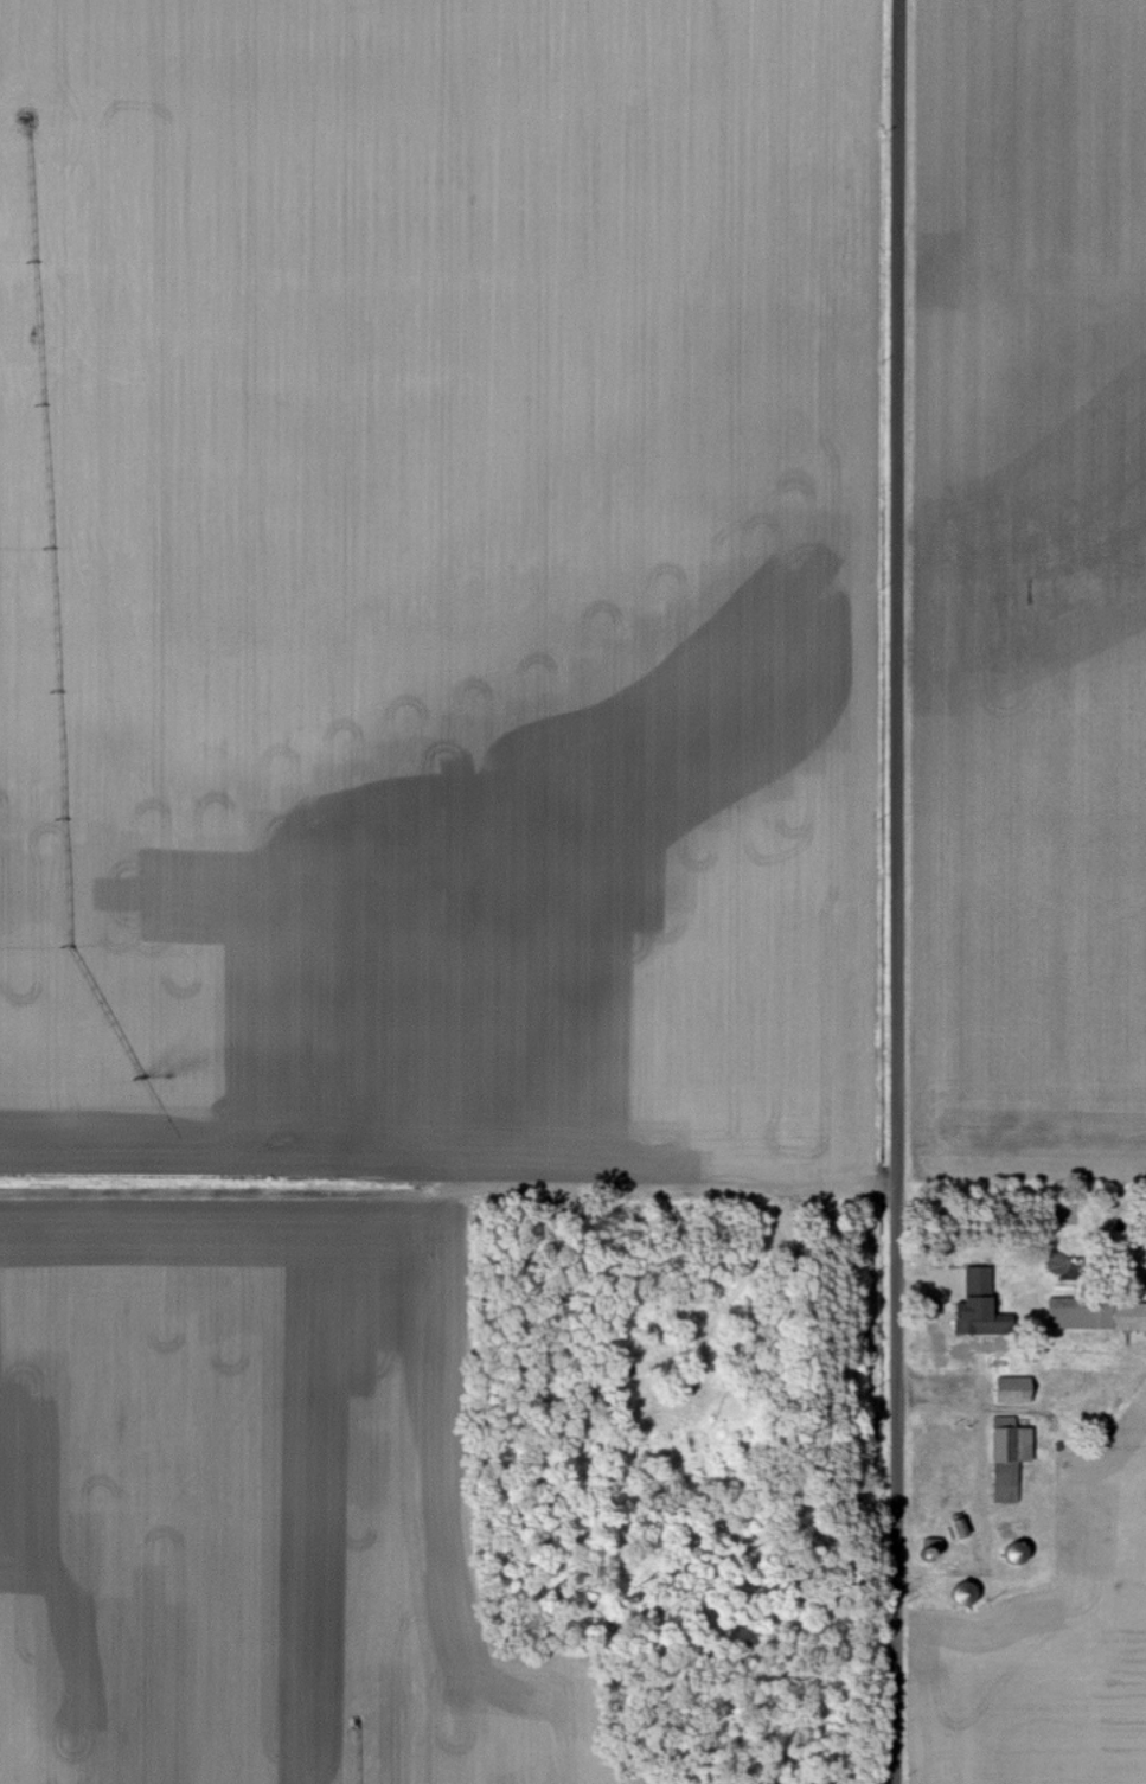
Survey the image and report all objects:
road: (894, 891)
building: (971, 1303)
building: (1096, 1313)
building: (1009, 1388)
building: (1005, 1456)
building: (1005, 1526)
building: (1013, 1554)
building: (960, 1593)

